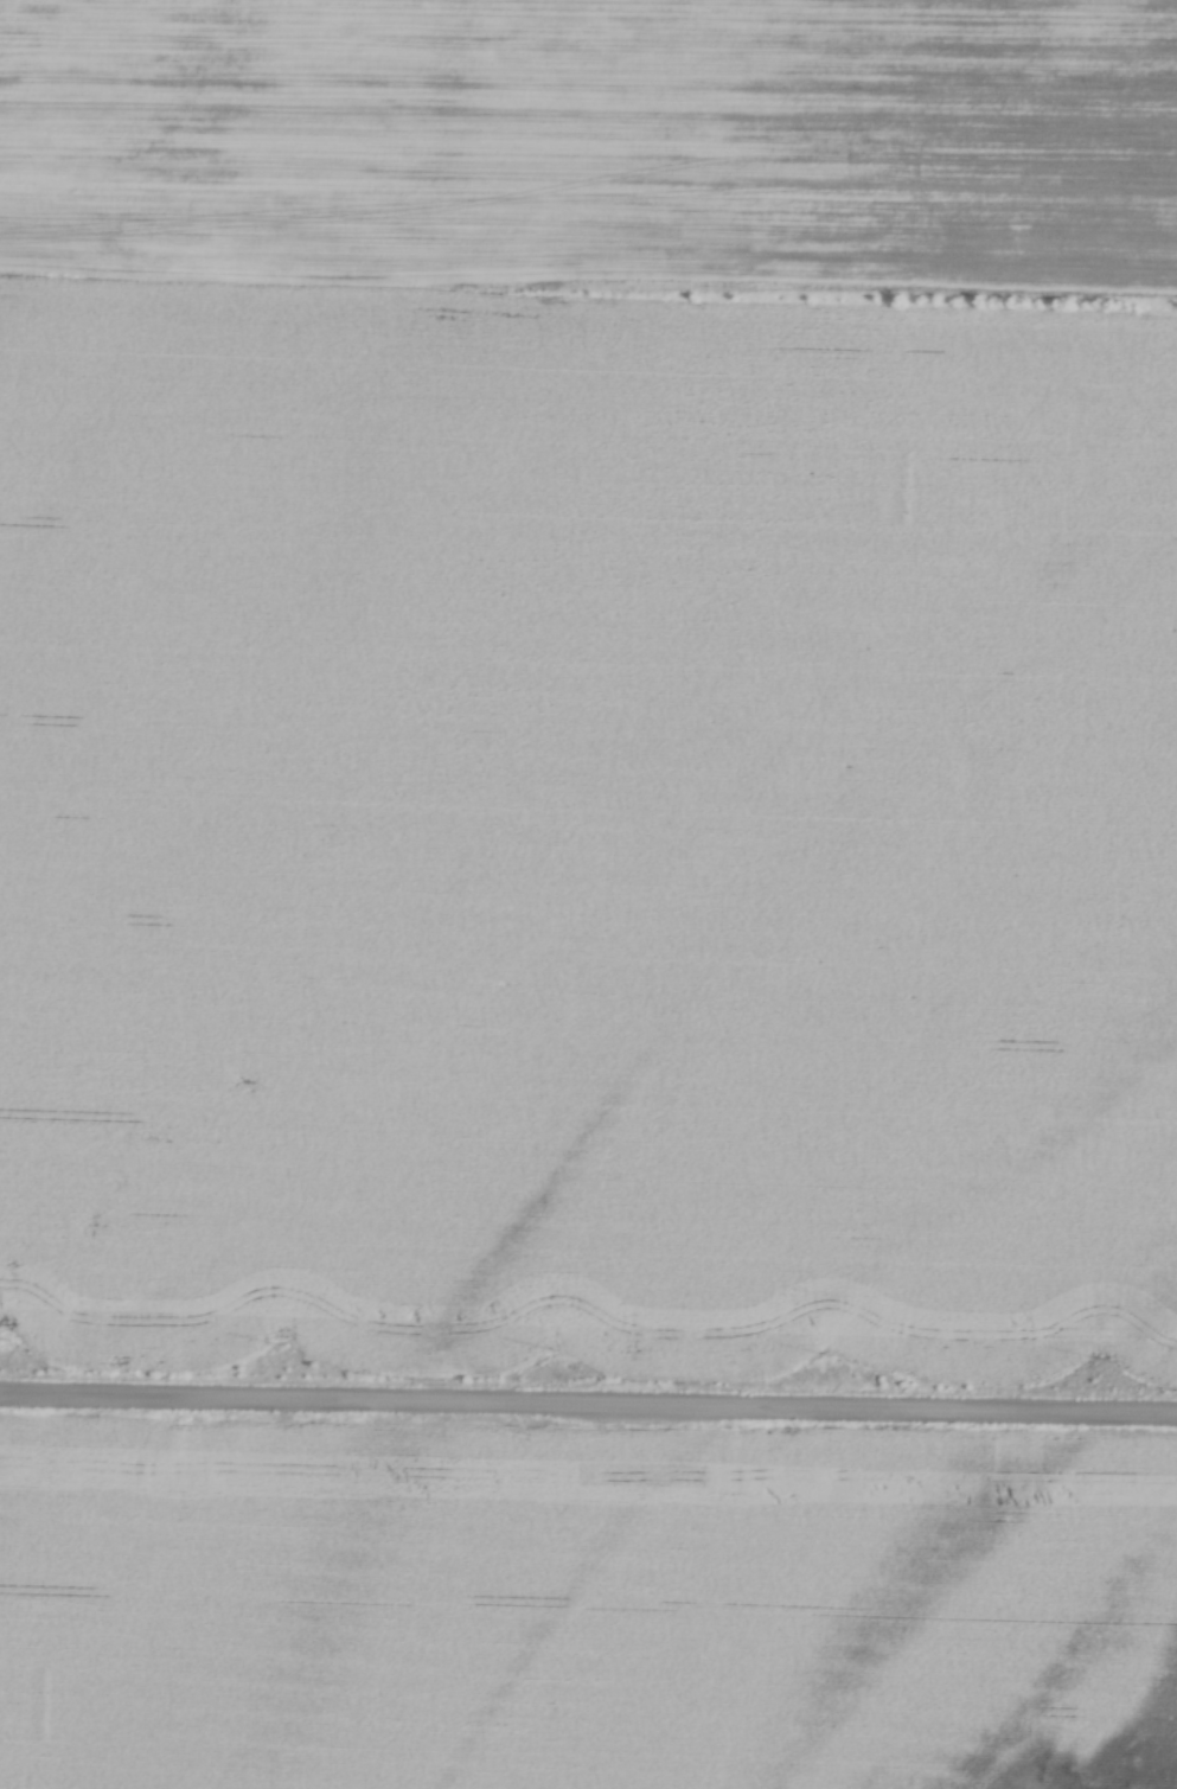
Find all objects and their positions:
road: (588, 1405)

